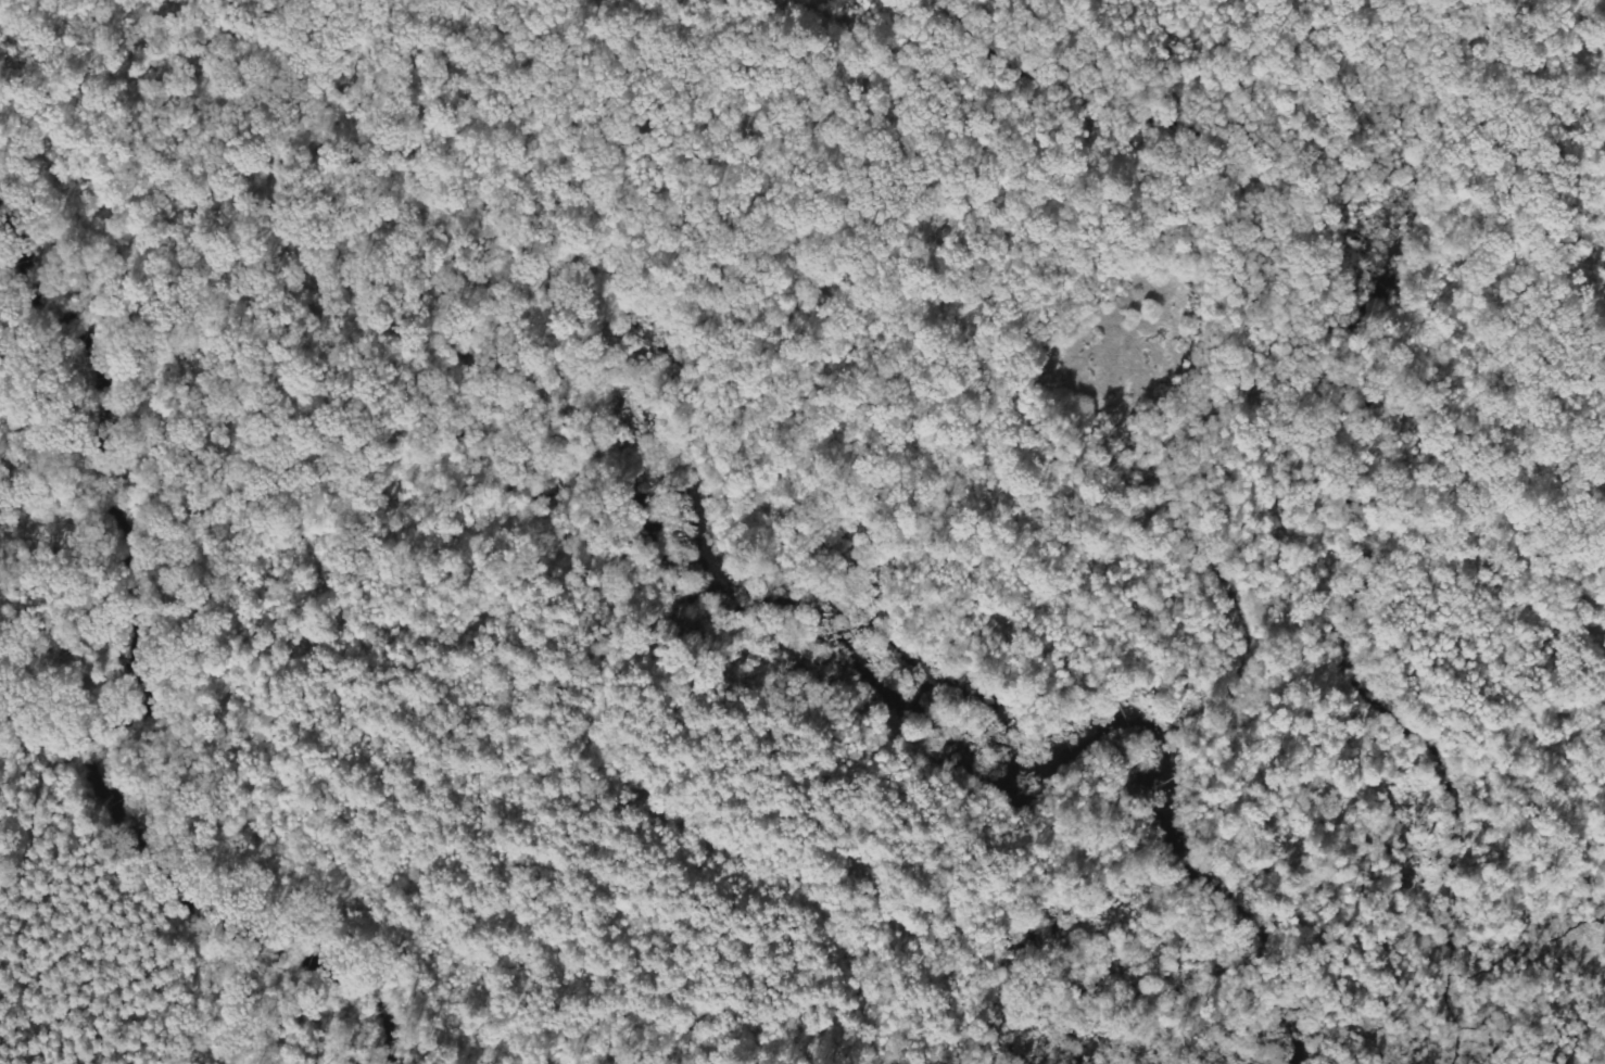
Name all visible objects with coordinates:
road: (232, 407)
road: (81, 900)

